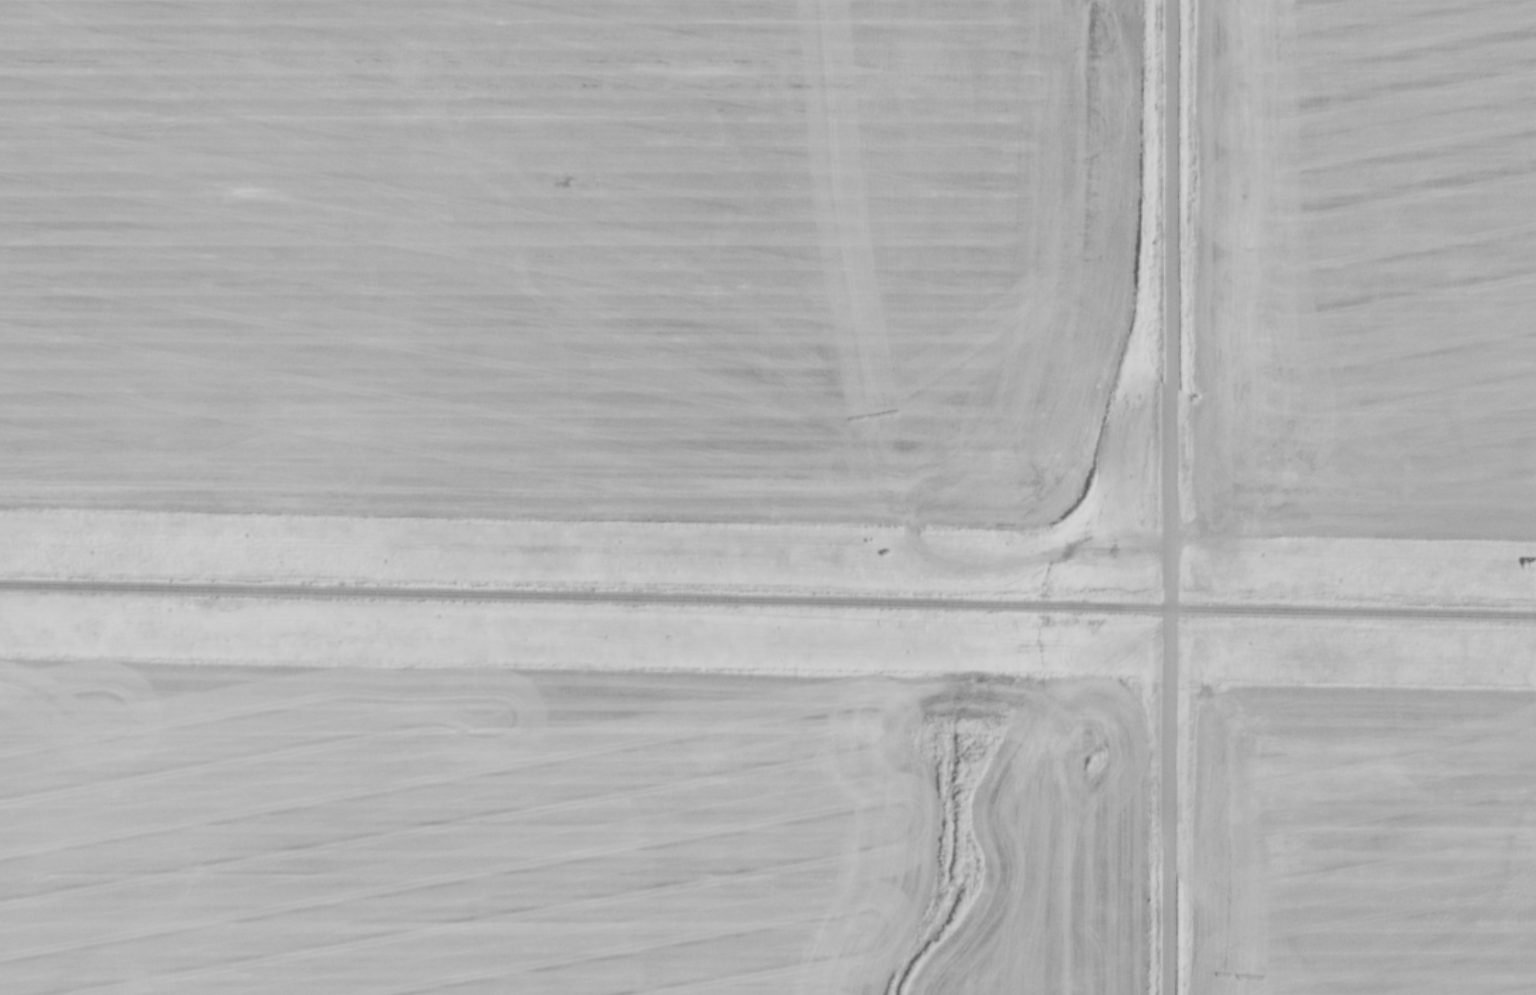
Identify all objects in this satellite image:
road: (1166, 497)
railway: (767, 602)

